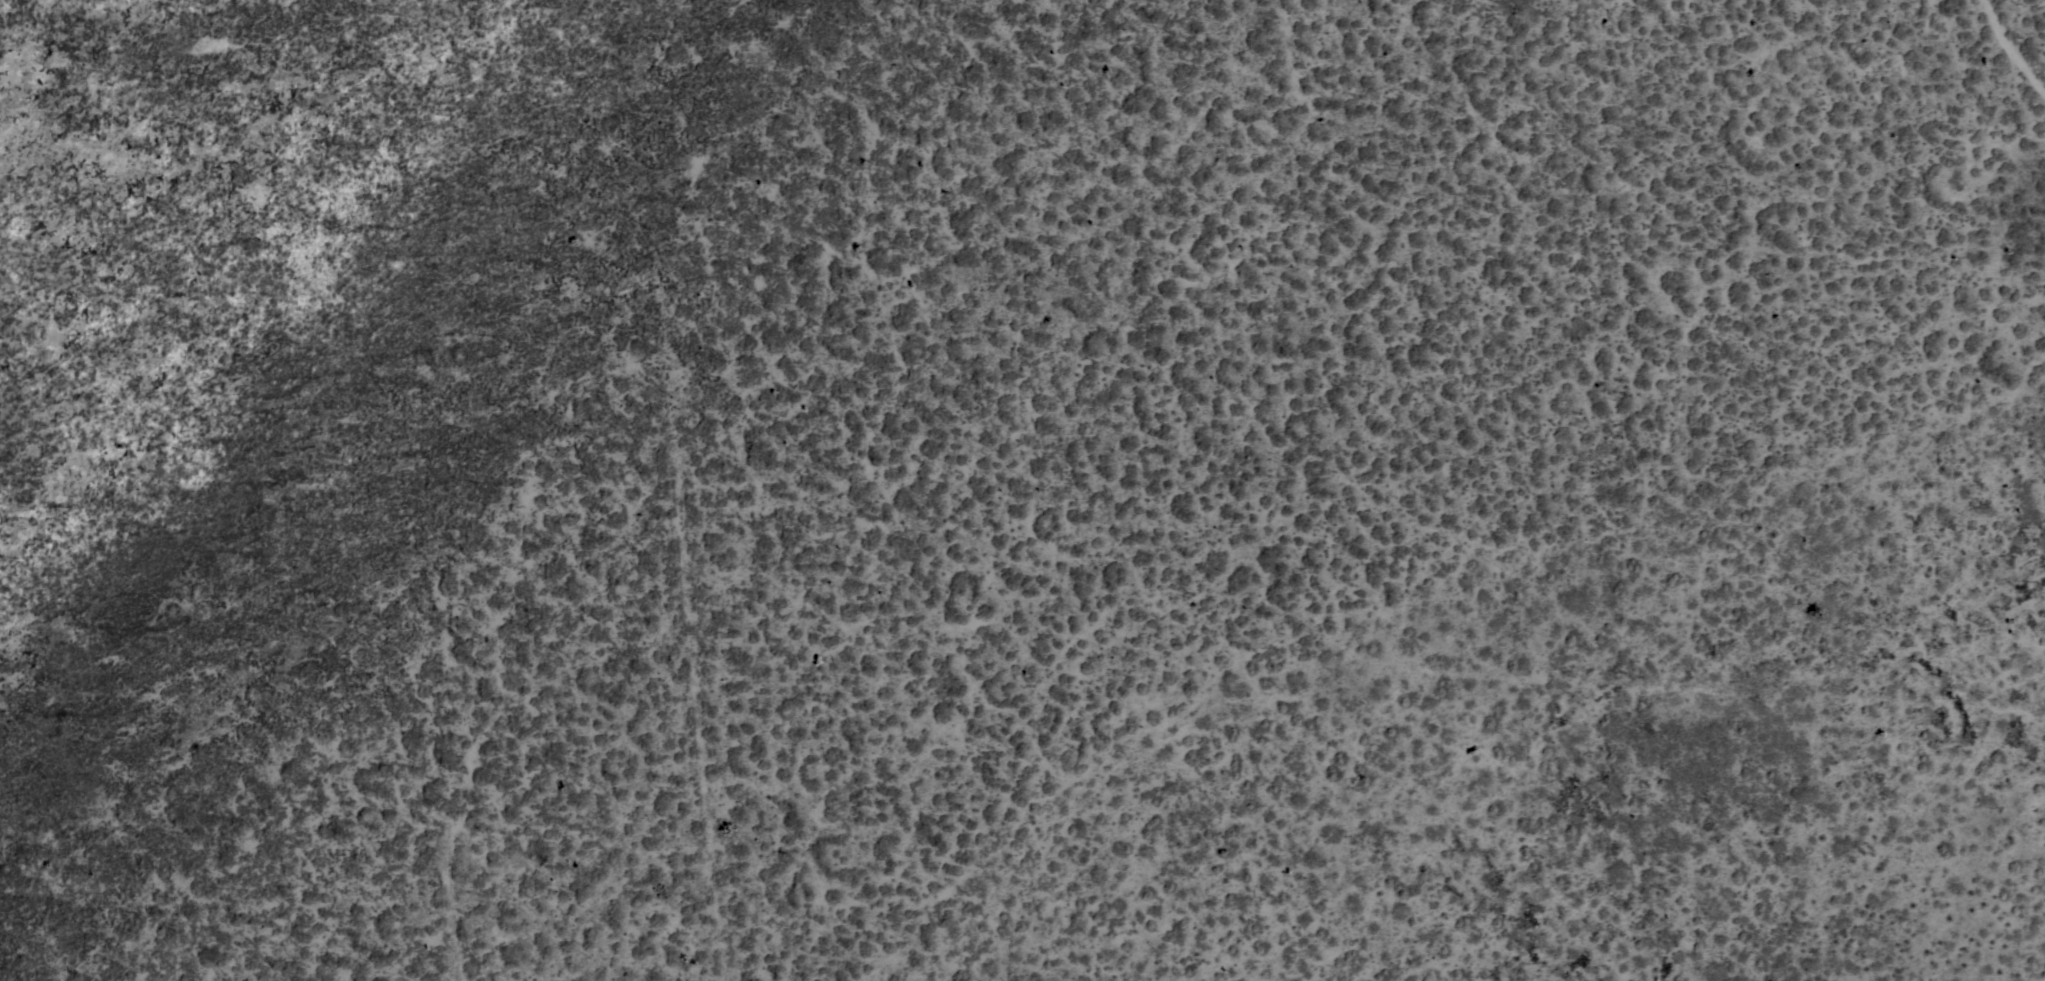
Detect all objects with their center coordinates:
road: (2012, 46)

